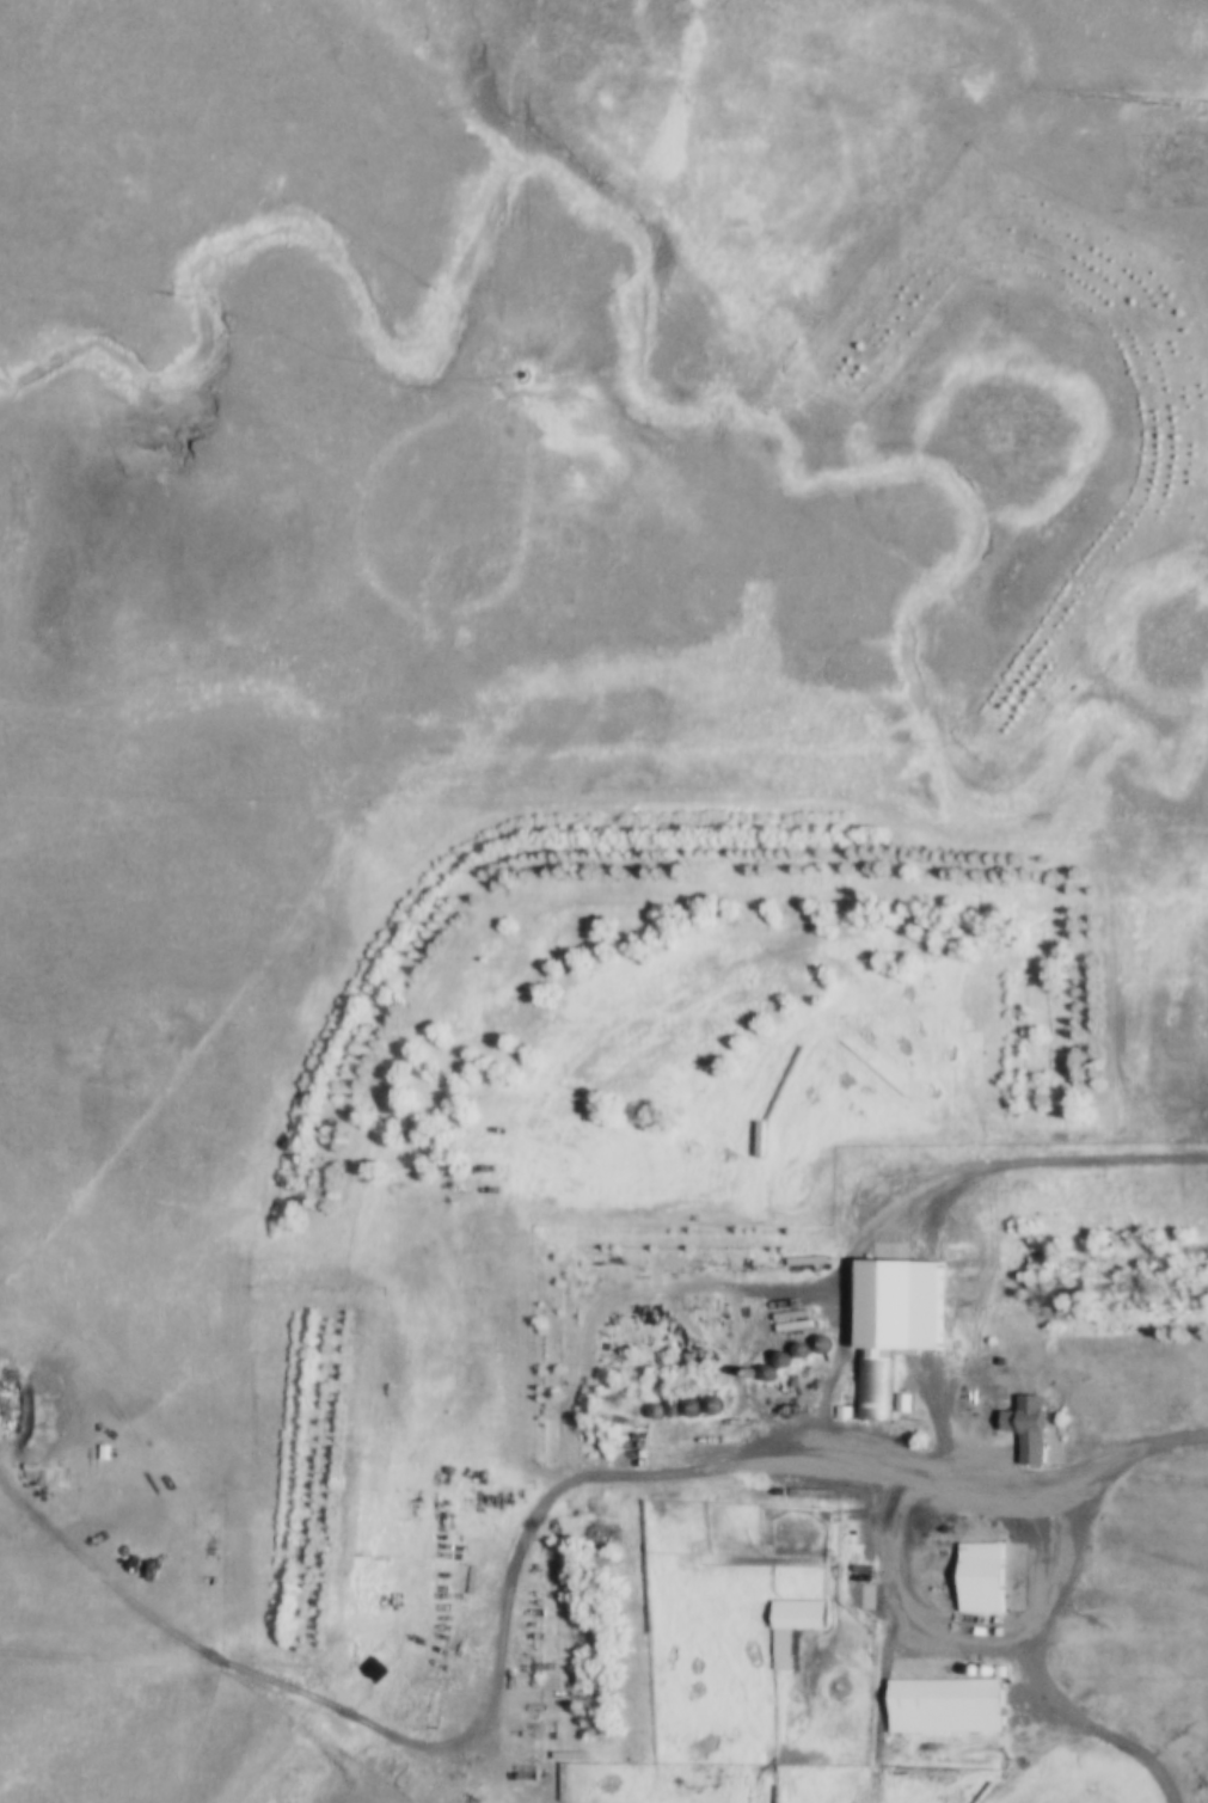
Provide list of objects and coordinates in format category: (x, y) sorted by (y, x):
building: (764, 1137)
building: (687, 1360)
building: (1034, 1429)
road: (1004, 1480)
building: (986, 1580)
building: (796, 1629)
building: (973, 1701)

